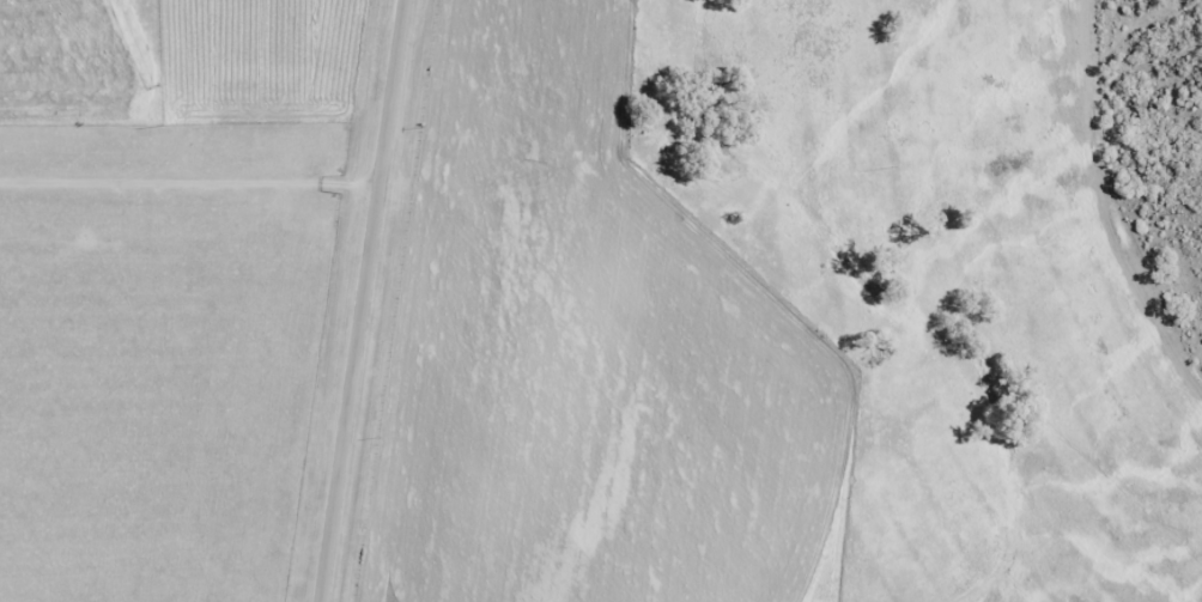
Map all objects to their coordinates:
road: (189, 182)
road: (362, 300)

